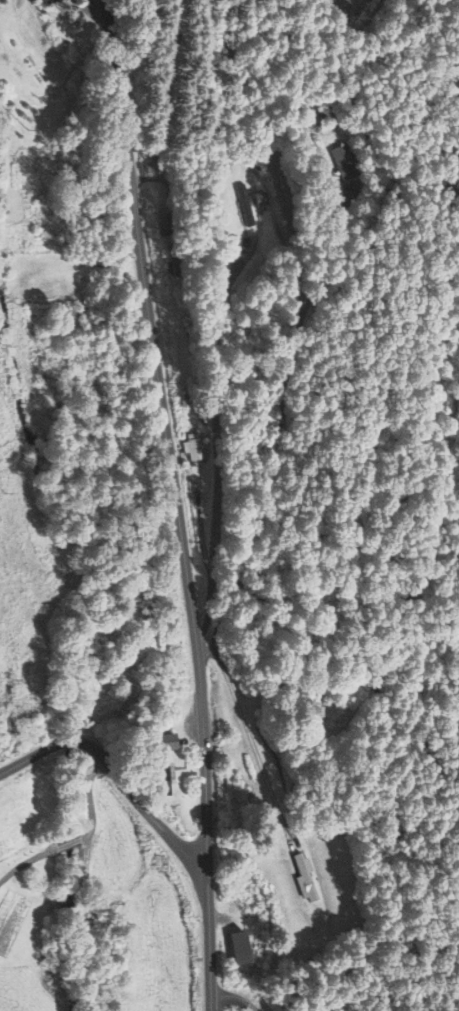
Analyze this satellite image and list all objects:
building: (47, 1)
building: (35, 64)
building: (339, 162)
building: (242, 205)
building: (162, 218)
building: (172, 260)
road: (279, 424)
road: (216, 442)
building: (192, 448)
road: (177, 503)
building: (148, 623)
building: (161, 742)
road: (117, 771)
building: (159, 776)
road: (89, 796)
road: (68, 841)
road: (26, 861)
building: (302, 877)
building: (237, 947)
road: (236, 998)

